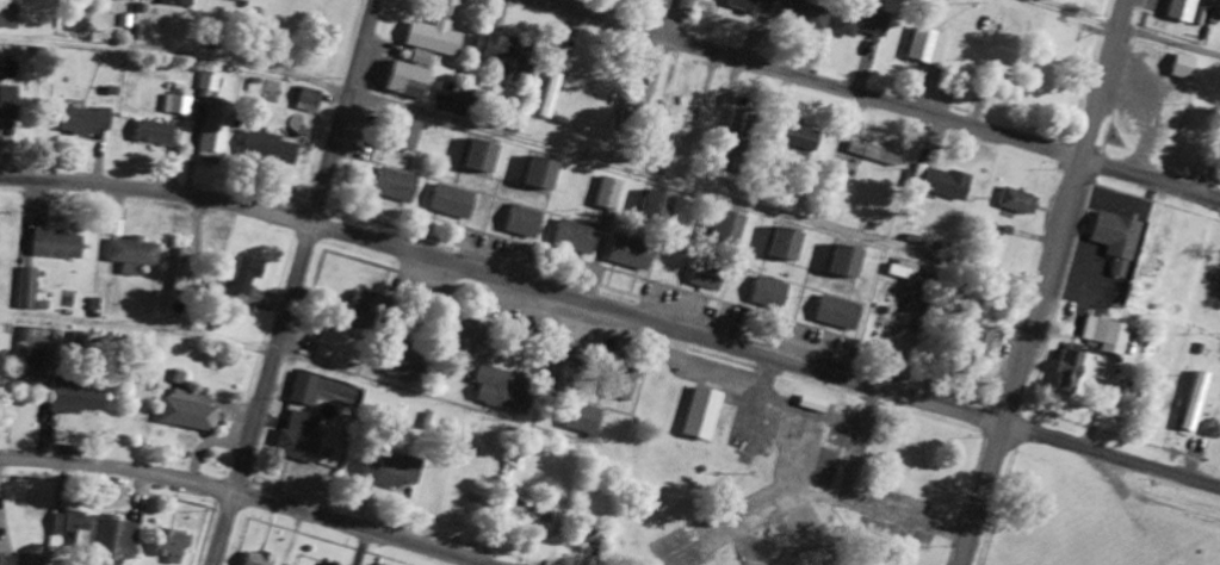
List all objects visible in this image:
building: (128, 0)
building: (707, 0)
building: (247, 1)
building: (174, 2)
building: (751, 6)
building: (801, 15)
building: (860, 20)
road: (1111, 33)
building: (433, 38)
building: (925, 45)
building: (504, 56)
building: (1184, 67)
road: (815, 77)
building: (407, 80)
building: (308, 98)
building: (632, 99)
building: (466, 100)
building: (547, 100)
building: (8, 107)
building: (211, 116)
building: (86, 120)
building: (726, 125)
building: (688, 129)
building: (154, 132)
building: (409, 135)
building: (803, 139)
road: (525, 144)
building: (270, 148)
building: (482, 155)
building: (873, 155)
building: (543, 173)
road: (1151, 173)
building: (946, 184)
building: (396, 185)
building: (453, 201)
building: (1017, 201)
building: (658, 207)
building: (524, 222)
building: (729, 228)
building: (575, 238)
building: (1116, 238)
building: (57, 243)
building: (787, 243)
building: (631, 253)
building: (131, 254)
building: (848, 261)
building: (1148, 262)
building: (179, 271)
building: (908, 274)
road: (506, 277)
building: (706, 277)
building: (243, 278)
road: (292, 281)
road: (1043, 282)
building: (26, 288)
building: (770, 293)
building: (369, 311)
building: (838, 313)
road: (136, 331)
building: (1103, 335)
building: (464, 336)
building: (983, 337)
building: (407, 364)
building: (557, 367)
building: (1069, 372)
building: (626, 385)
building: (303, 390)
building: (502, 390)
building: (75, 398)
building: (1196, 402)
building: (188, 411)
building: (704, 411)
building: (583, 418)
building: (299, 436)
road: (1110, 454)
building: (390, 472)
building: (464, 489)
road: (253, 493)
building: (530, 514)
building: (70, 527)
building: (589, 534)
building: (114, 540)
building: (171, 546)
building: (258, 558)
building: (6, 560)

